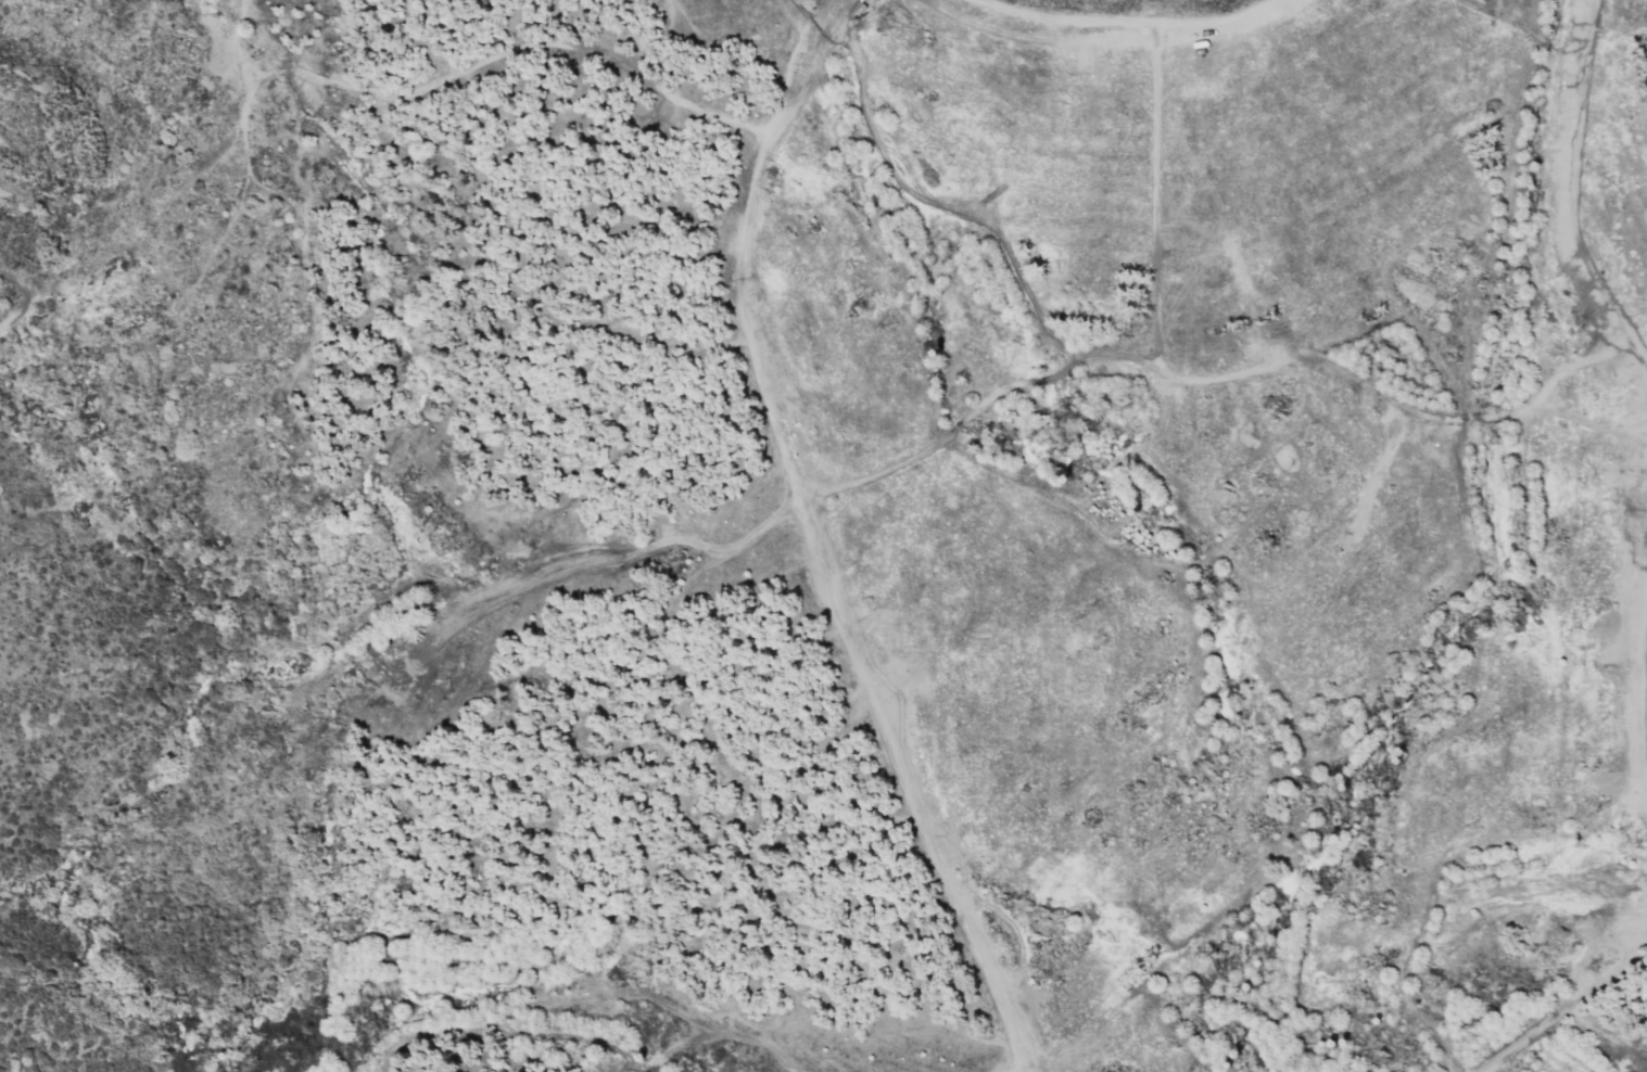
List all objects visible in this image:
road: (1126, 21)
road: (1570, 193)
road: (808, 541)
road: (1636, 666)
road: (1568, 1006)

